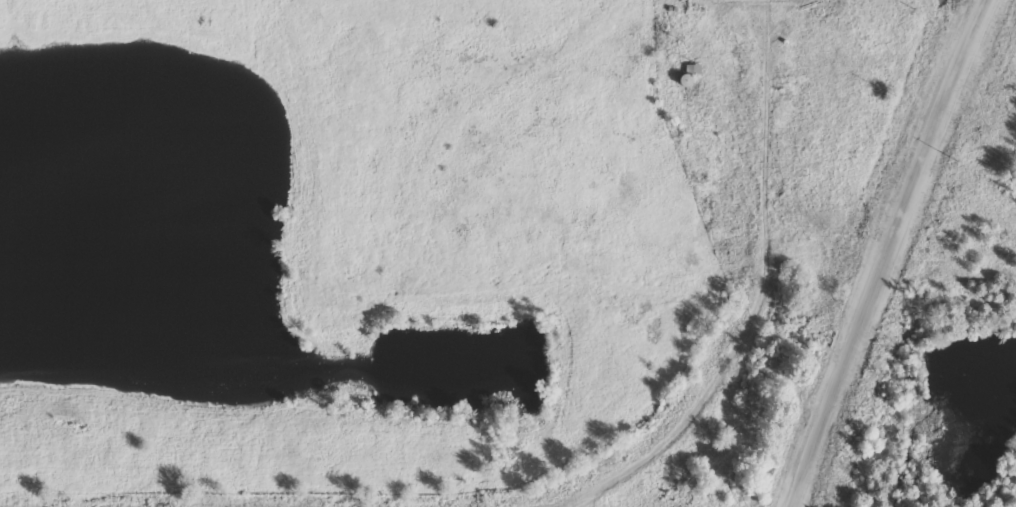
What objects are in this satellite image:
road: (881, 251)

